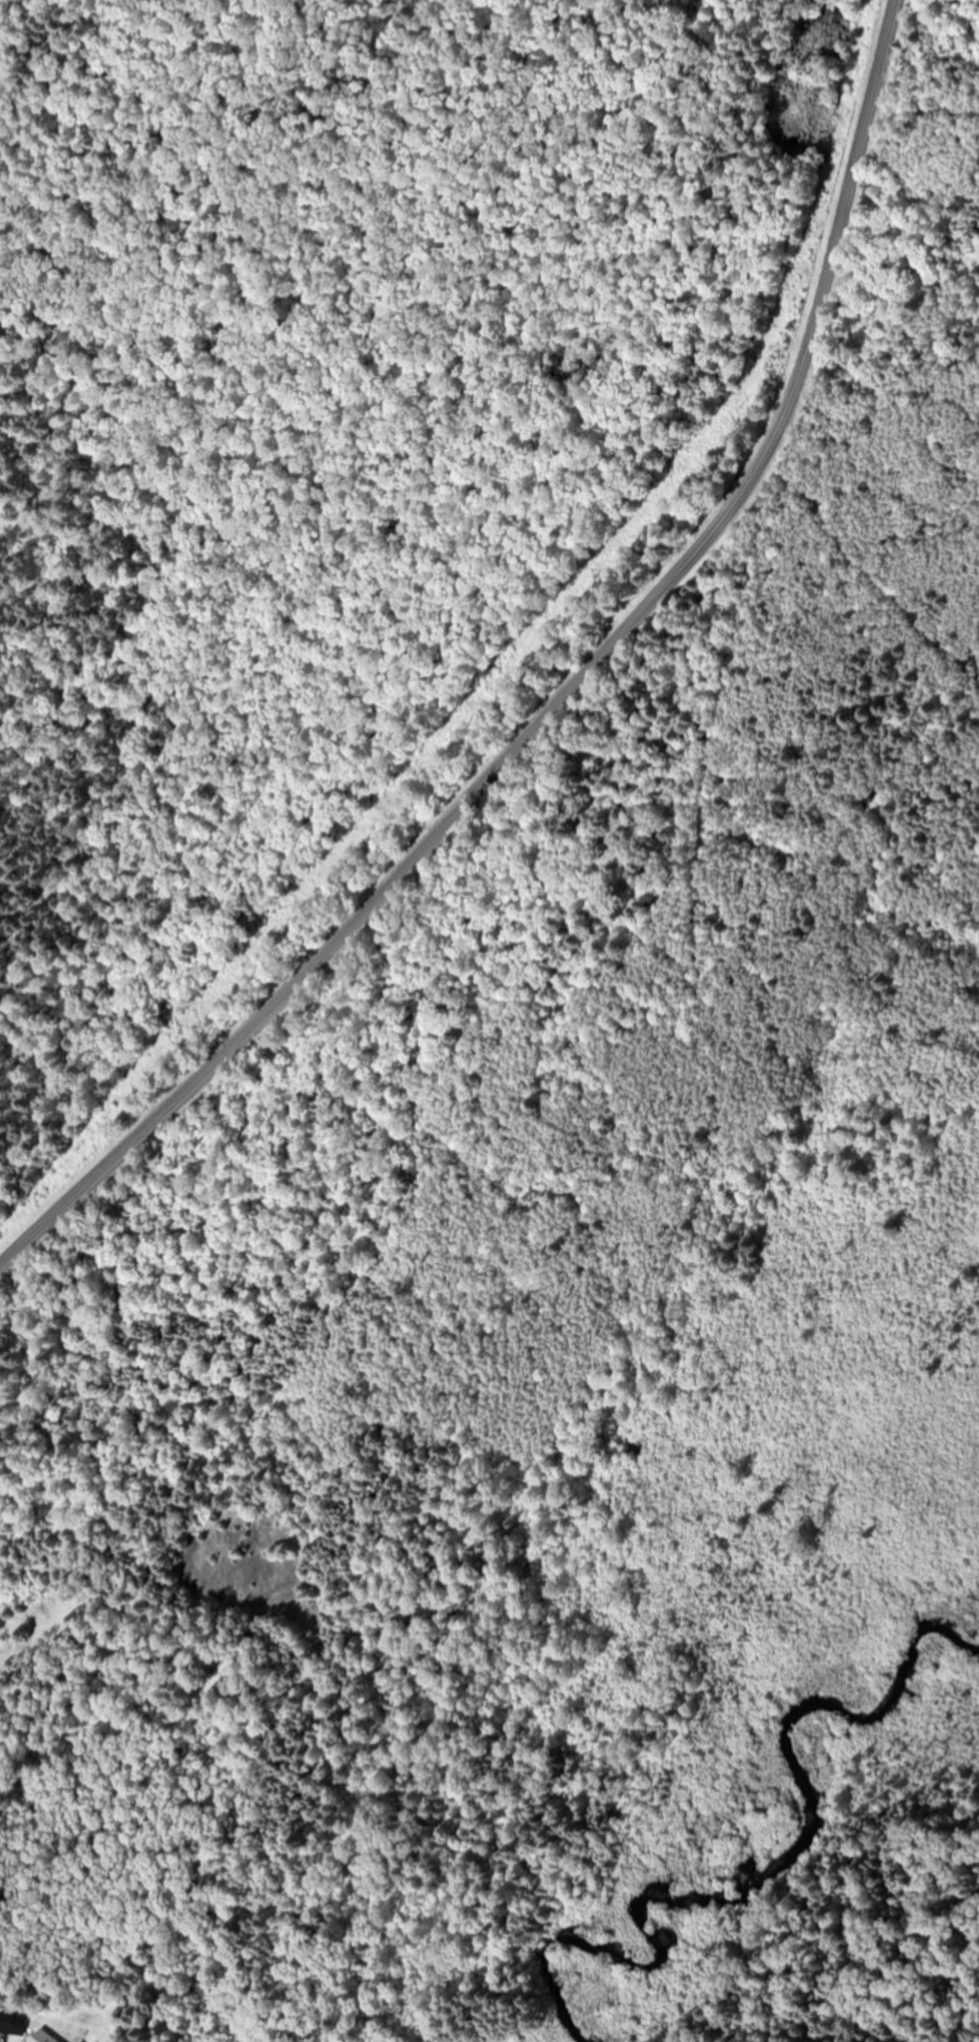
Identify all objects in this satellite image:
road: (558, 702)
building: (11, 2023)
building: (42, 2038)

